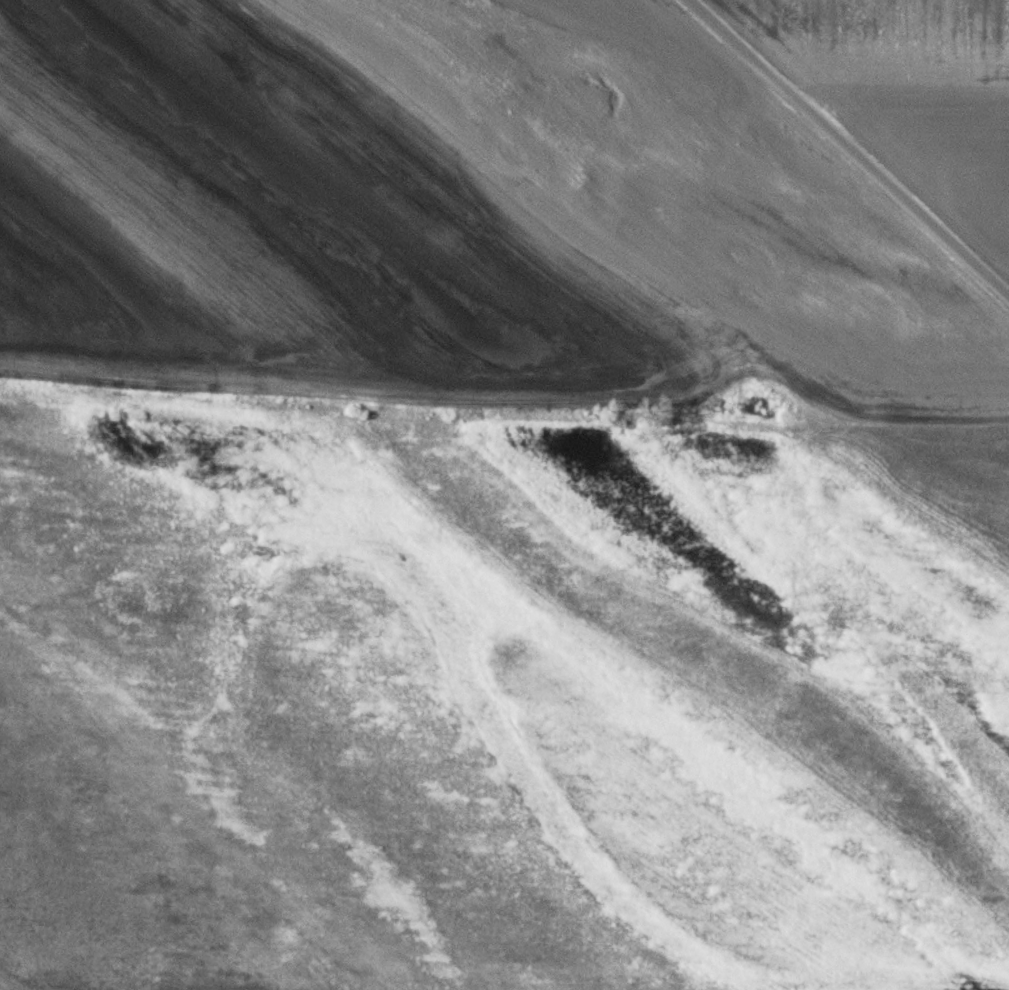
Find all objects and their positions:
road: (823, 178)

